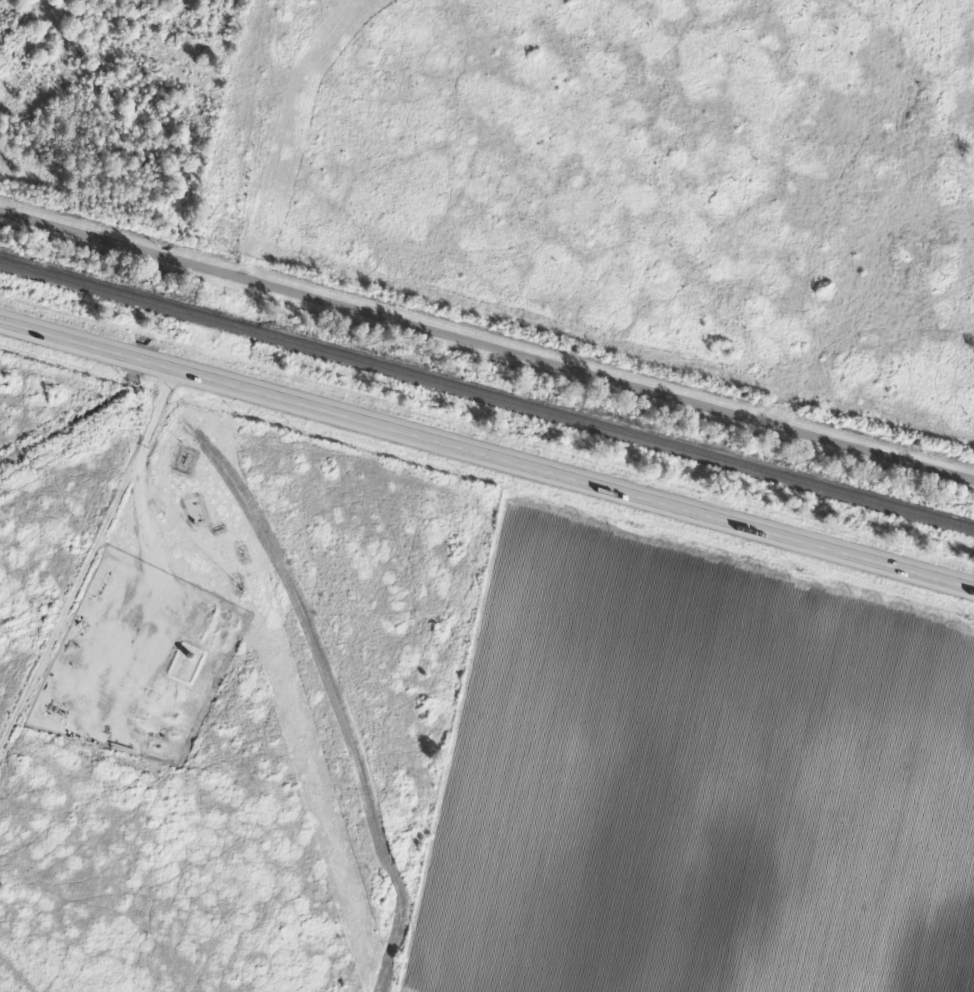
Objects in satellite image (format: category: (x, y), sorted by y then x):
road: (487, 342)
railway: (487, 395)
road: (487, 452)
road: (189, 522)
road: (92, 565)
road: (36, 623)

